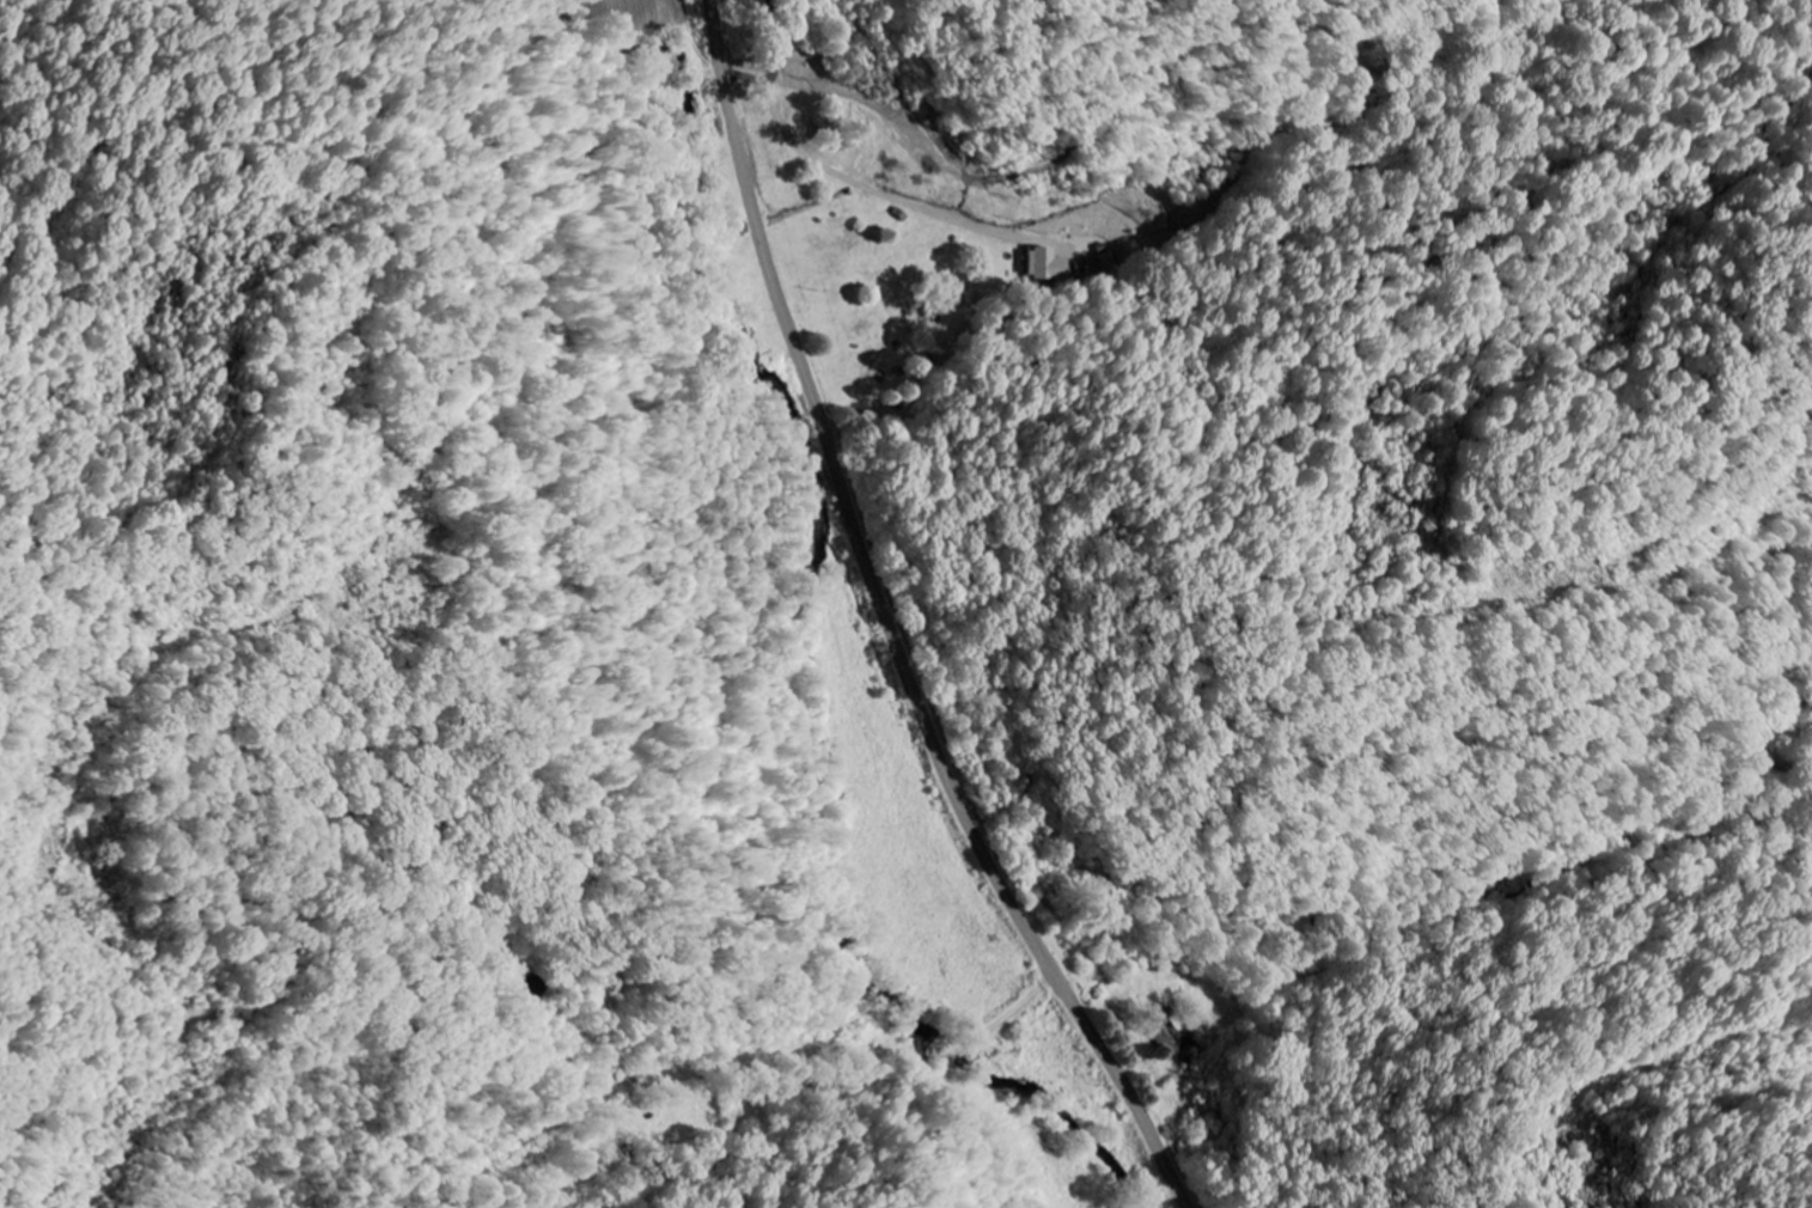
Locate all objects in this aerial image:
building: (1045, 266)
road: (902, 624)
building: (1171, 1039)

